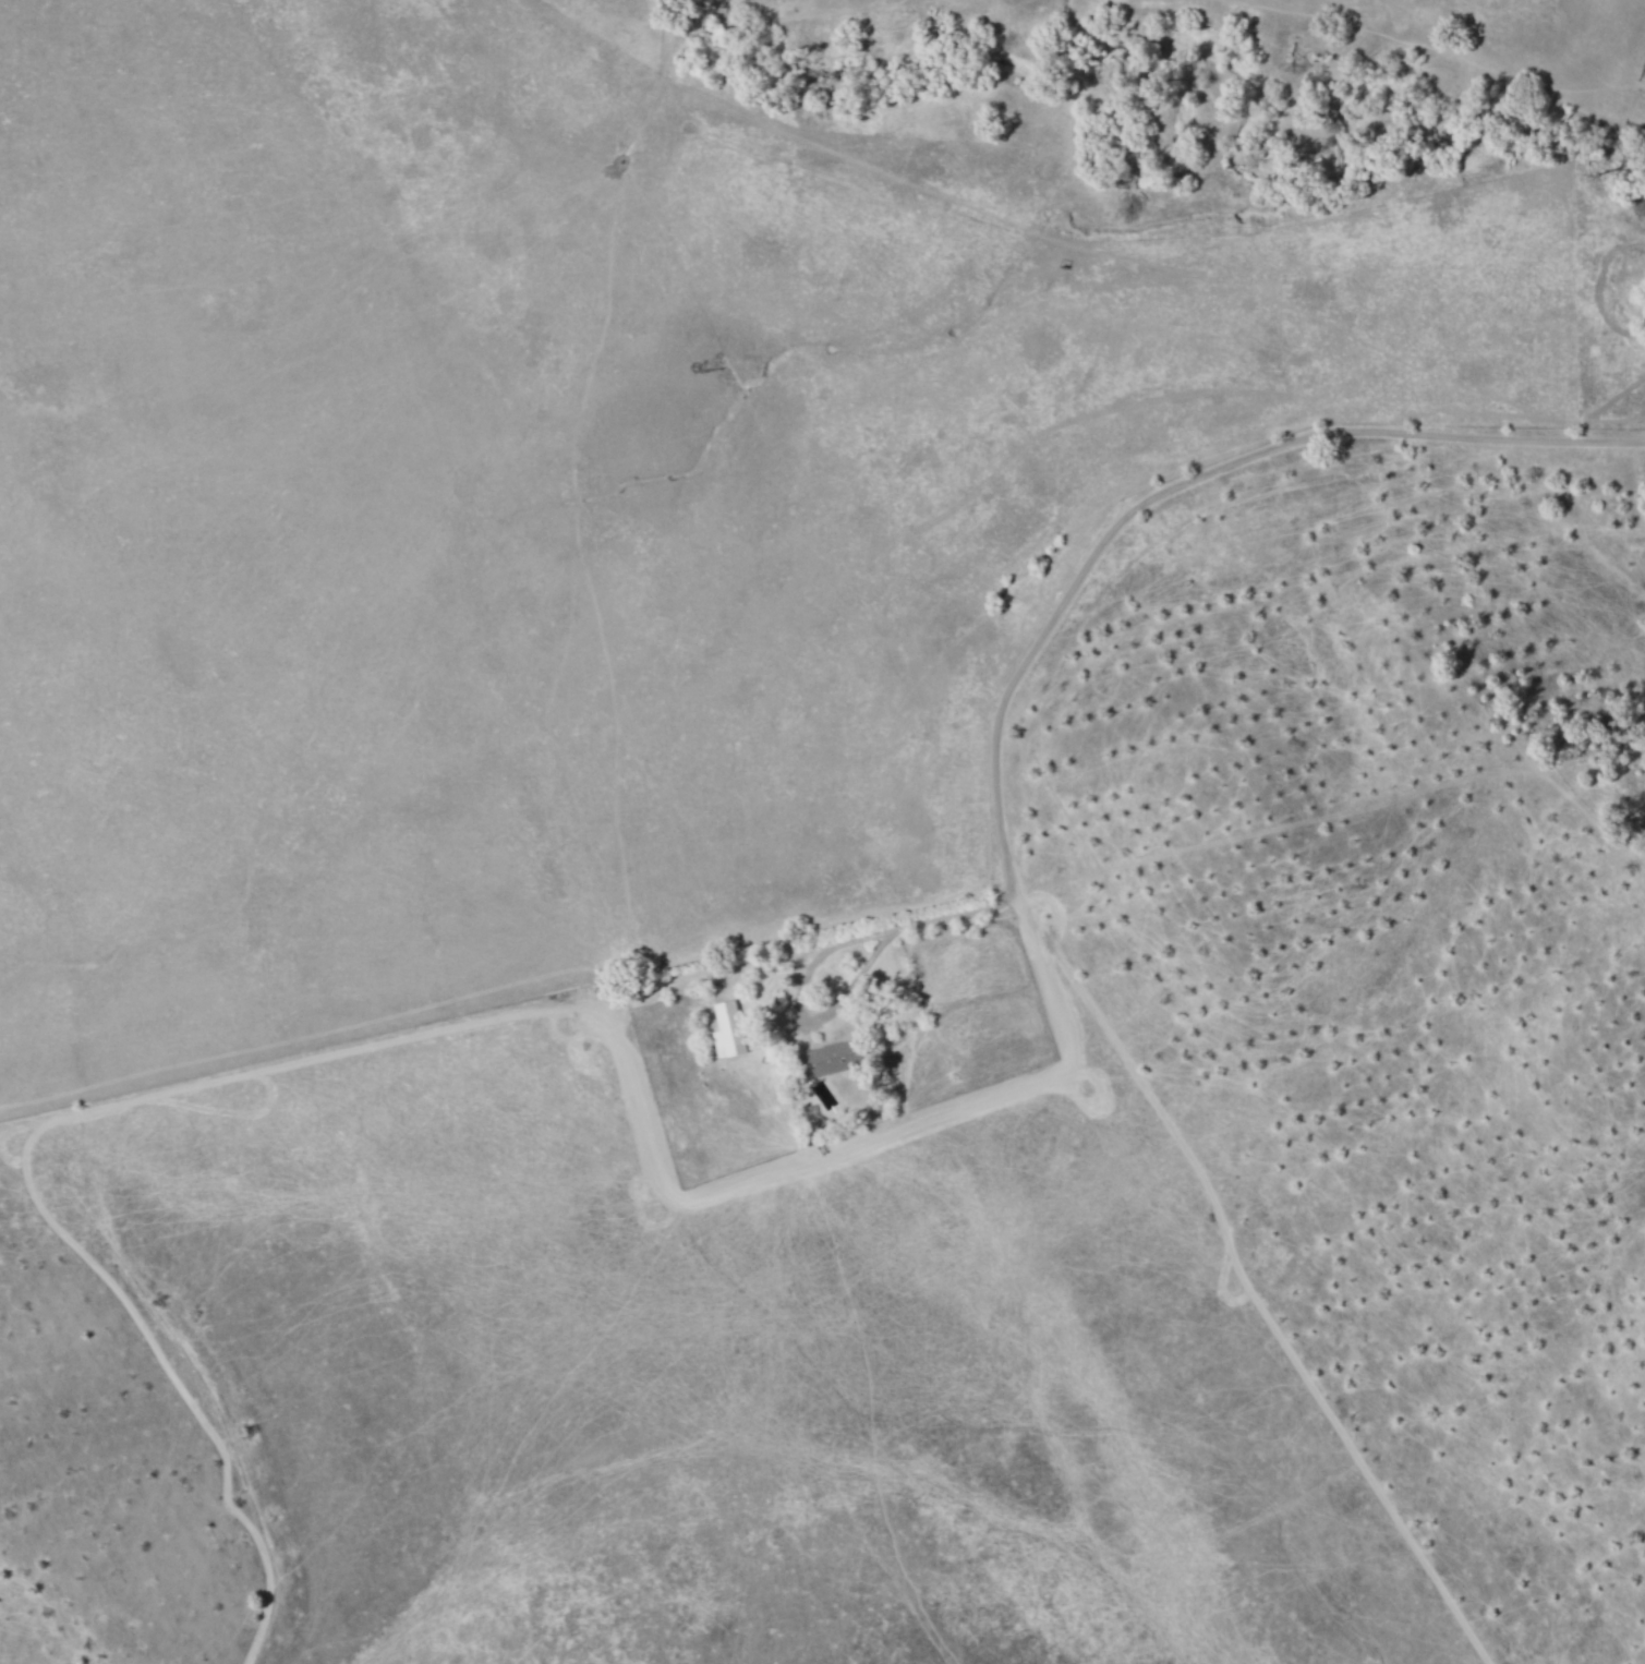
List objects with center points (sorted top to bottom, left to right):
road: (1181, 489)
road: (832, 948)
building: (728, 1029)
building: (832, 1057)

